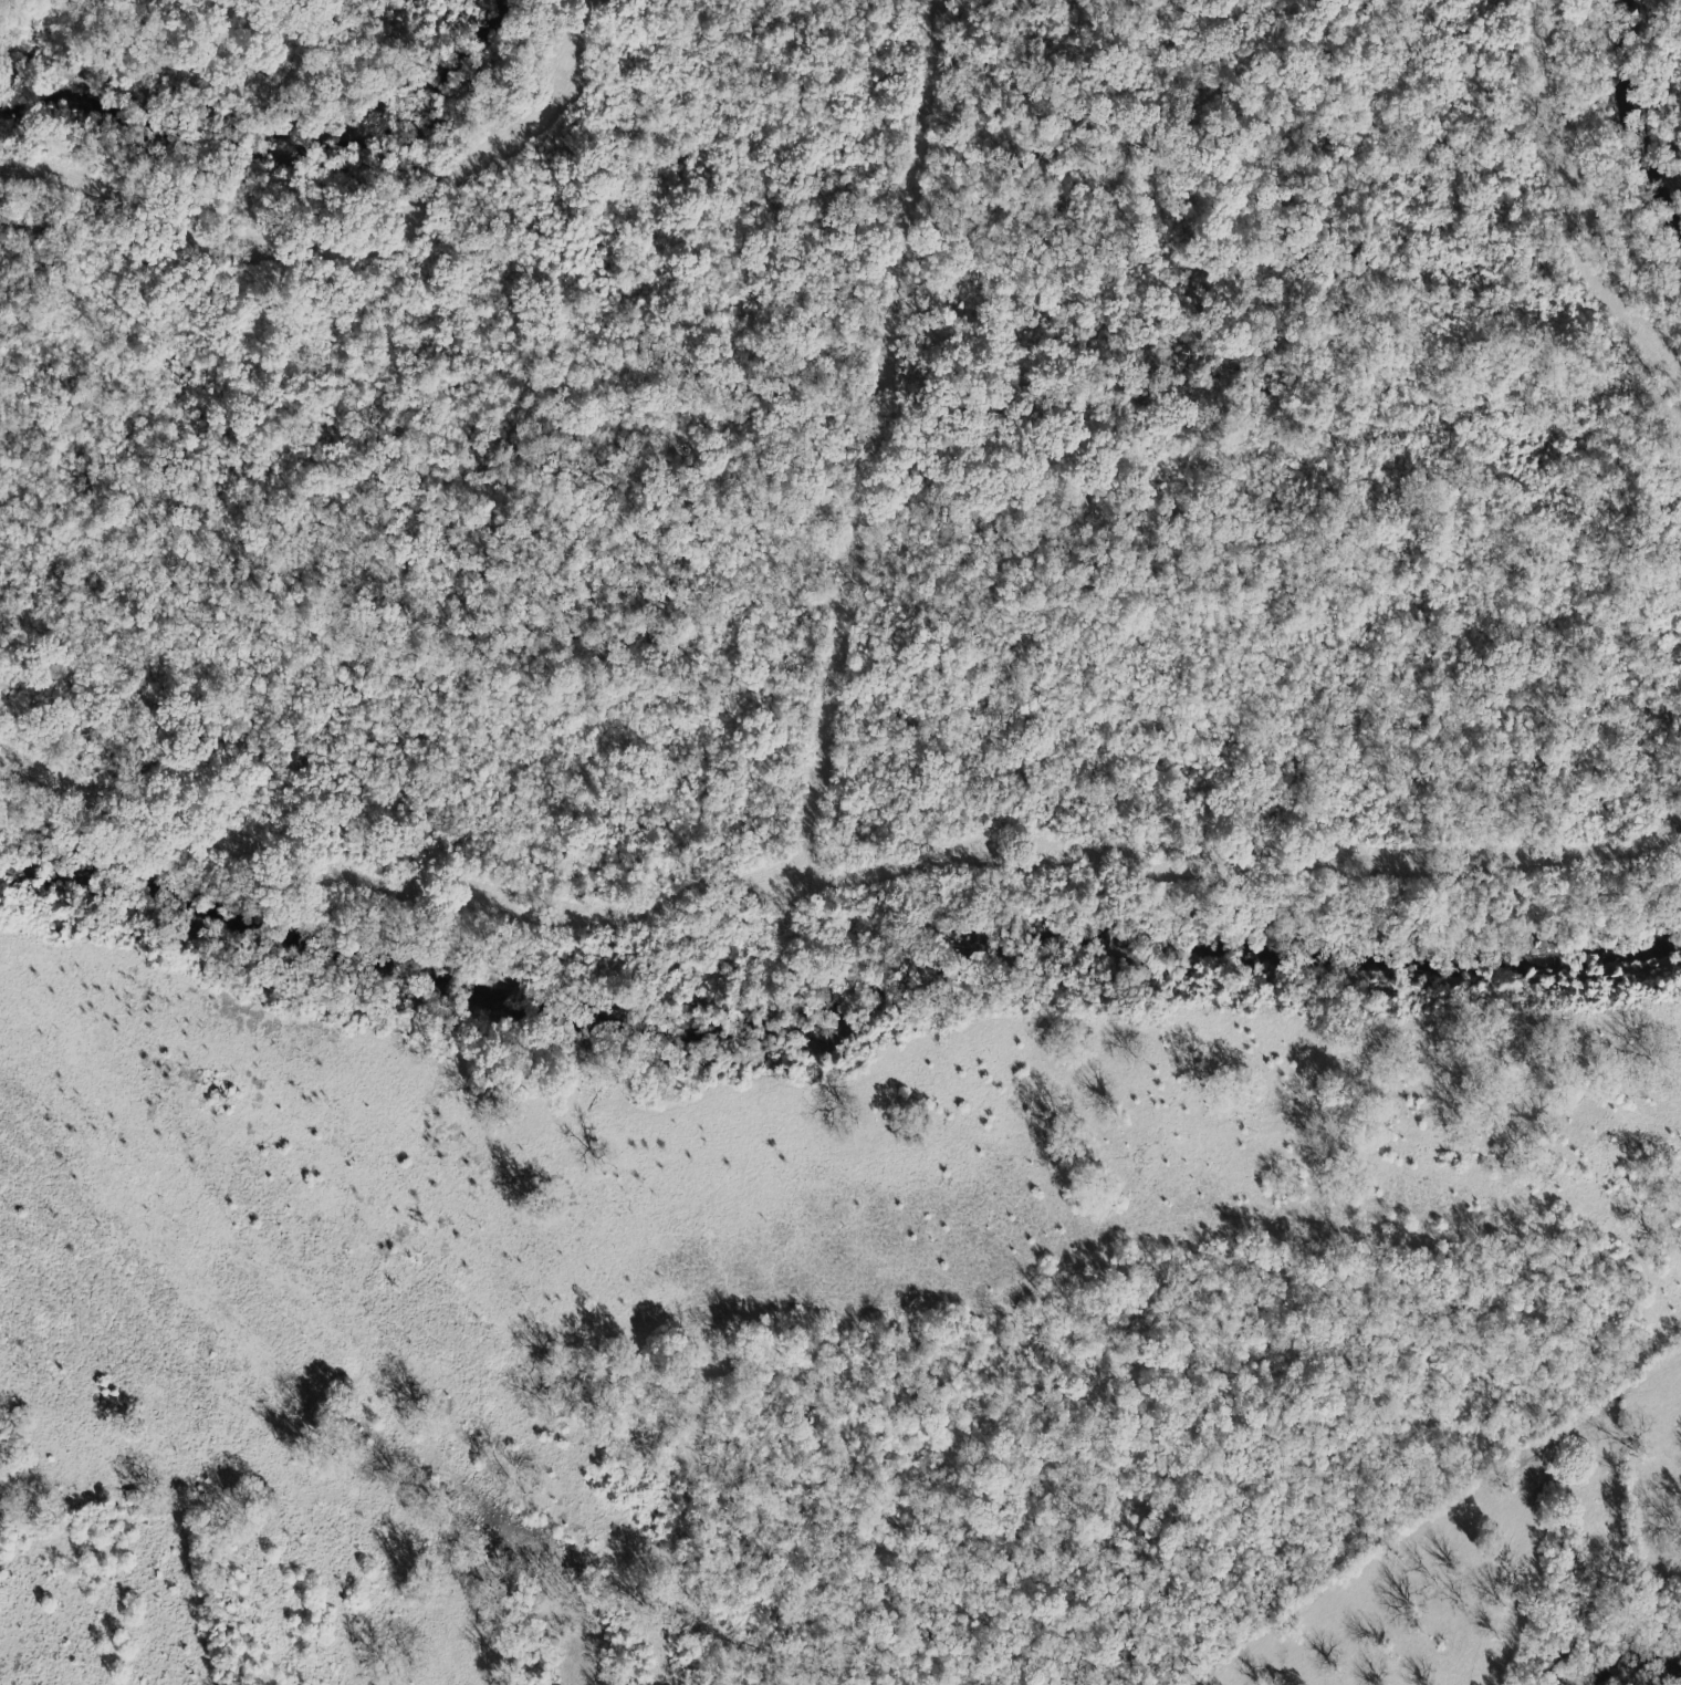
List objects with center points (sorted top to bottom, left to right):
road: (1447, 1525)

